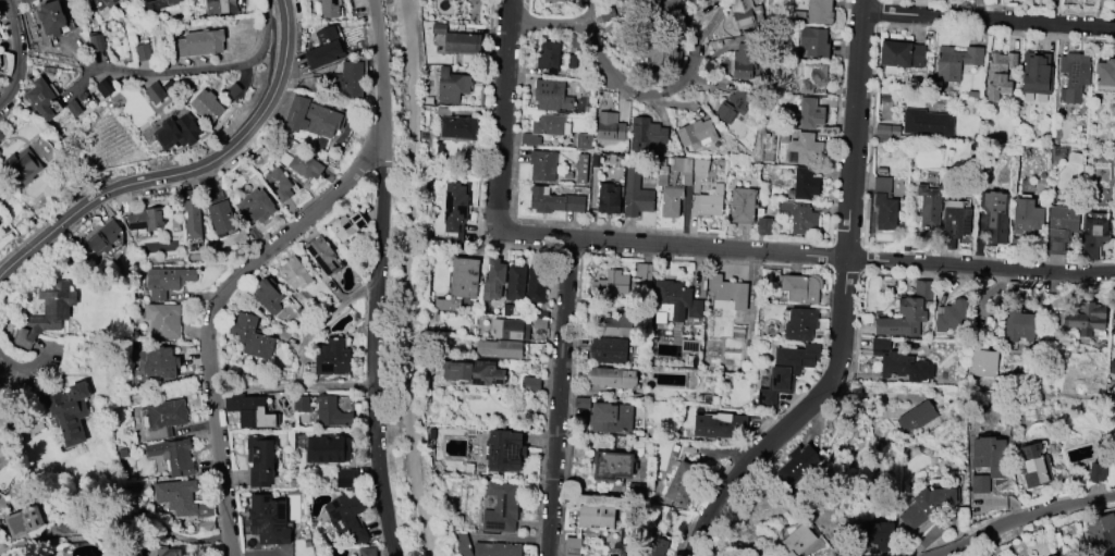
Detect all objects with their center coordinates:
building: (25, 1)
road: (269, 1)
building: (552, 1)
building: (159, 4)
building: (106, 7)
building: (222, 7)
road: (997, 7)
building: (330, 9)
road: (880, 12)
building: (744, 13)
building: (817, 13)
building: (608, 14)
building: (52, 18)
road: (989, 21)
road: (546, 23)
building: (458, 40)
building: (201, 42)
building: (814, 42)
building: (97, 44)
road: (270, 48)
building: (323, 49)
building: (142, 52)
road: (16, 53)
building: (661, 54)
building: (899, 54)
building: (549, 57)
building: (571, 61)
building: (742, 61)
building: (957, 62)
road: (379, 71)
road: (198, 72)
building: (1105, 73)
building: (1000, 74)
building: (1034, 74)
building: (813, 76)
building: (1074, 76)
building: (348, 81)
building: (170, 86)
building: (452, 86)
building: (103, 89)
building: (233, 91)
building: (156, 94)
road: (652, 95)
building: (972, 95)
building: (552, 96)
building: (45, 98)
building: (885, 98)
building: (209, 106)
building: (733, 106)
building: (74, 108)
road: (838, 112)
building: (810, 113)
road: (502, 115)
building: (313, 116)
building: (927, 123)
building: (457, 125)
building: (610, 127)
building: (543, 128)
road: (871, 129)
building: (887, 129)
building: (180, 132)
building: (646, 134)
building: (697, 134)
building: (1, 136)
building: (782, 137)
building: (583, 141)
building: (805, 150)
building: (595, 160)
building: (303, 164)
building: (542, 165)
building: (700, 165)
building: (23, 166)
building: (581, 169)
building: (882, 170)
road: (132, 171)
road: (185, 171)
building: (566, 174)
building: (280, 184)
building: (672, 184)
building: (806, 184)
building: (636, 195)
building: (608, 198)
building: (553, 200)
building: (711, 202)
building: (885, 205)
building: (255, 206)
building: (743, 206)
building: (454, 207)
building: (930, 207)
building: (221, 217)
building: (800, 217)
building: (995, 217)
building: (0, 218)
building: (1028, 218)
building: (147, 219)
building: (193, 219)
building: (955, 220)
building: (347, 225)
road: (571, 225)
building: (764, 226)
building: (1062, 227)
road: (831, 232)
road: (847, 232)
road: (554, 236)
building: (105, 237)
building: (1094, 237)
road: (583, 239)
road: (865, 239)
building: (1016, 242)
road: (550, 249)
road: (567, 250)
building: (322, 254)
road: (805, 256)
road: (828, 256)
road: (865, 258)
road: (845, 268)
building: (295, 273)
building: (463, 277)
building: (644, 277)
road: (413, 279)
building: (167, 281)
building: (494, 281)
road: (579, 281)
building: (516, 283)
building: (535, 283)
building: (611, 283)
building: (802, 287)
building: (921, 288)
building: (728, 294)
building: (268, 296)
building: (677, 300)
building: (446, 305)
road: (844, 305)
road: (858, 307)
building: (507, 310)
building: (45, 313)
road: (210, 313)
building: (952, 316)
building: (540, 319)
building: (903, 319)
building: (1087, 319)
building: (164, 320)
building: (801, 324)
building: (616, 325)
building: (1019, 325)
building: (509, 329)
building: (737, 330)
building: (1114, 330)
building: (252, 336)
building: (881, 344)
road: (849, 347)
road: (373, 349)
building: (500, 349)
building: (609, 350)
building: (333, 358)
building: (160, 361)
road: (10, 362)
road: (855, 363)
building: (984, 363)
building: (1112, 367)
building: (905, 368)
building: (474, 372)
building: (786, 372)
road: (820, 372)
building: (614, 379)
building: (1111, 382)
road: (291, 383)
building: (531, 384)
road: (873, 395)
road: (559, 397)
building: (946, 401)
building: (583, 403)
building: (68, 410)
building: (250, 410)
building: (302, 410)
building: (332, 412)
building: (612, 417)
building: (917, 417)
building: (166, 418)
building: (35, 423)
building: (715, 424)
building: (328, 449)
building: (504, 450)
road: (740, 453)
road: (710, 455)
building: (175, 456)
road: (742, 459)
building: (260, 460)
building: (989, 461)
building: (798, 465)
building: (613, 466)
building: (1034, 467)
building: (1099, 473)
building: (347, 478)
building: (684, 483)
building: (183, 499)
building: (931, 506)
building: (502, 508)
building: (347, 517)
building: (596, 518)
building: (268, 521)
building: (24, 522)
road: (1026, 523)
building: (207, 526)
building: (878, 534)
building: (1102, 535)
building: (798, 541)
building: (461, 543)
building: (573, 546)
building: (658, 547)
building: (495, 549)
building: (163, 552)
building: (368, 552)
building: (308, 553)
building: (1054, 555)
building: (1068, 555)

